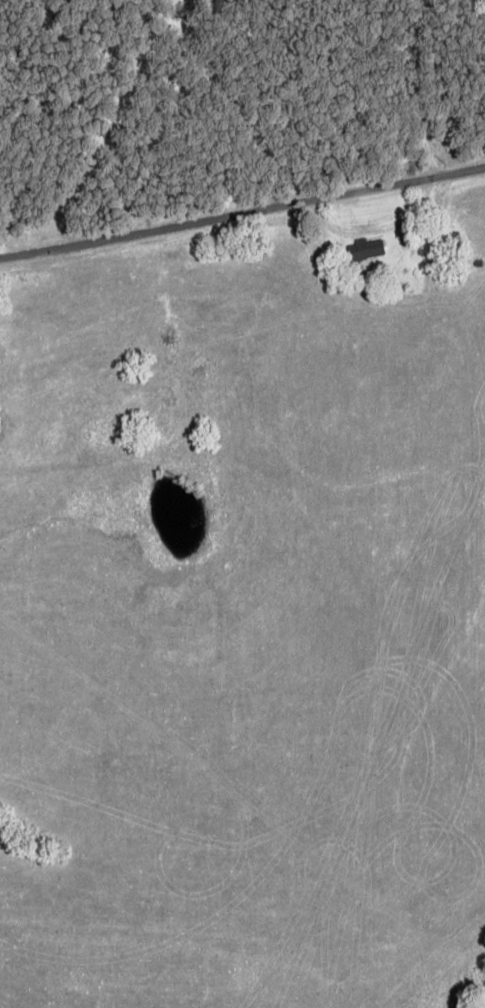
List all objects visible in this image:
road: (241, 213)
building: (365, 249)

